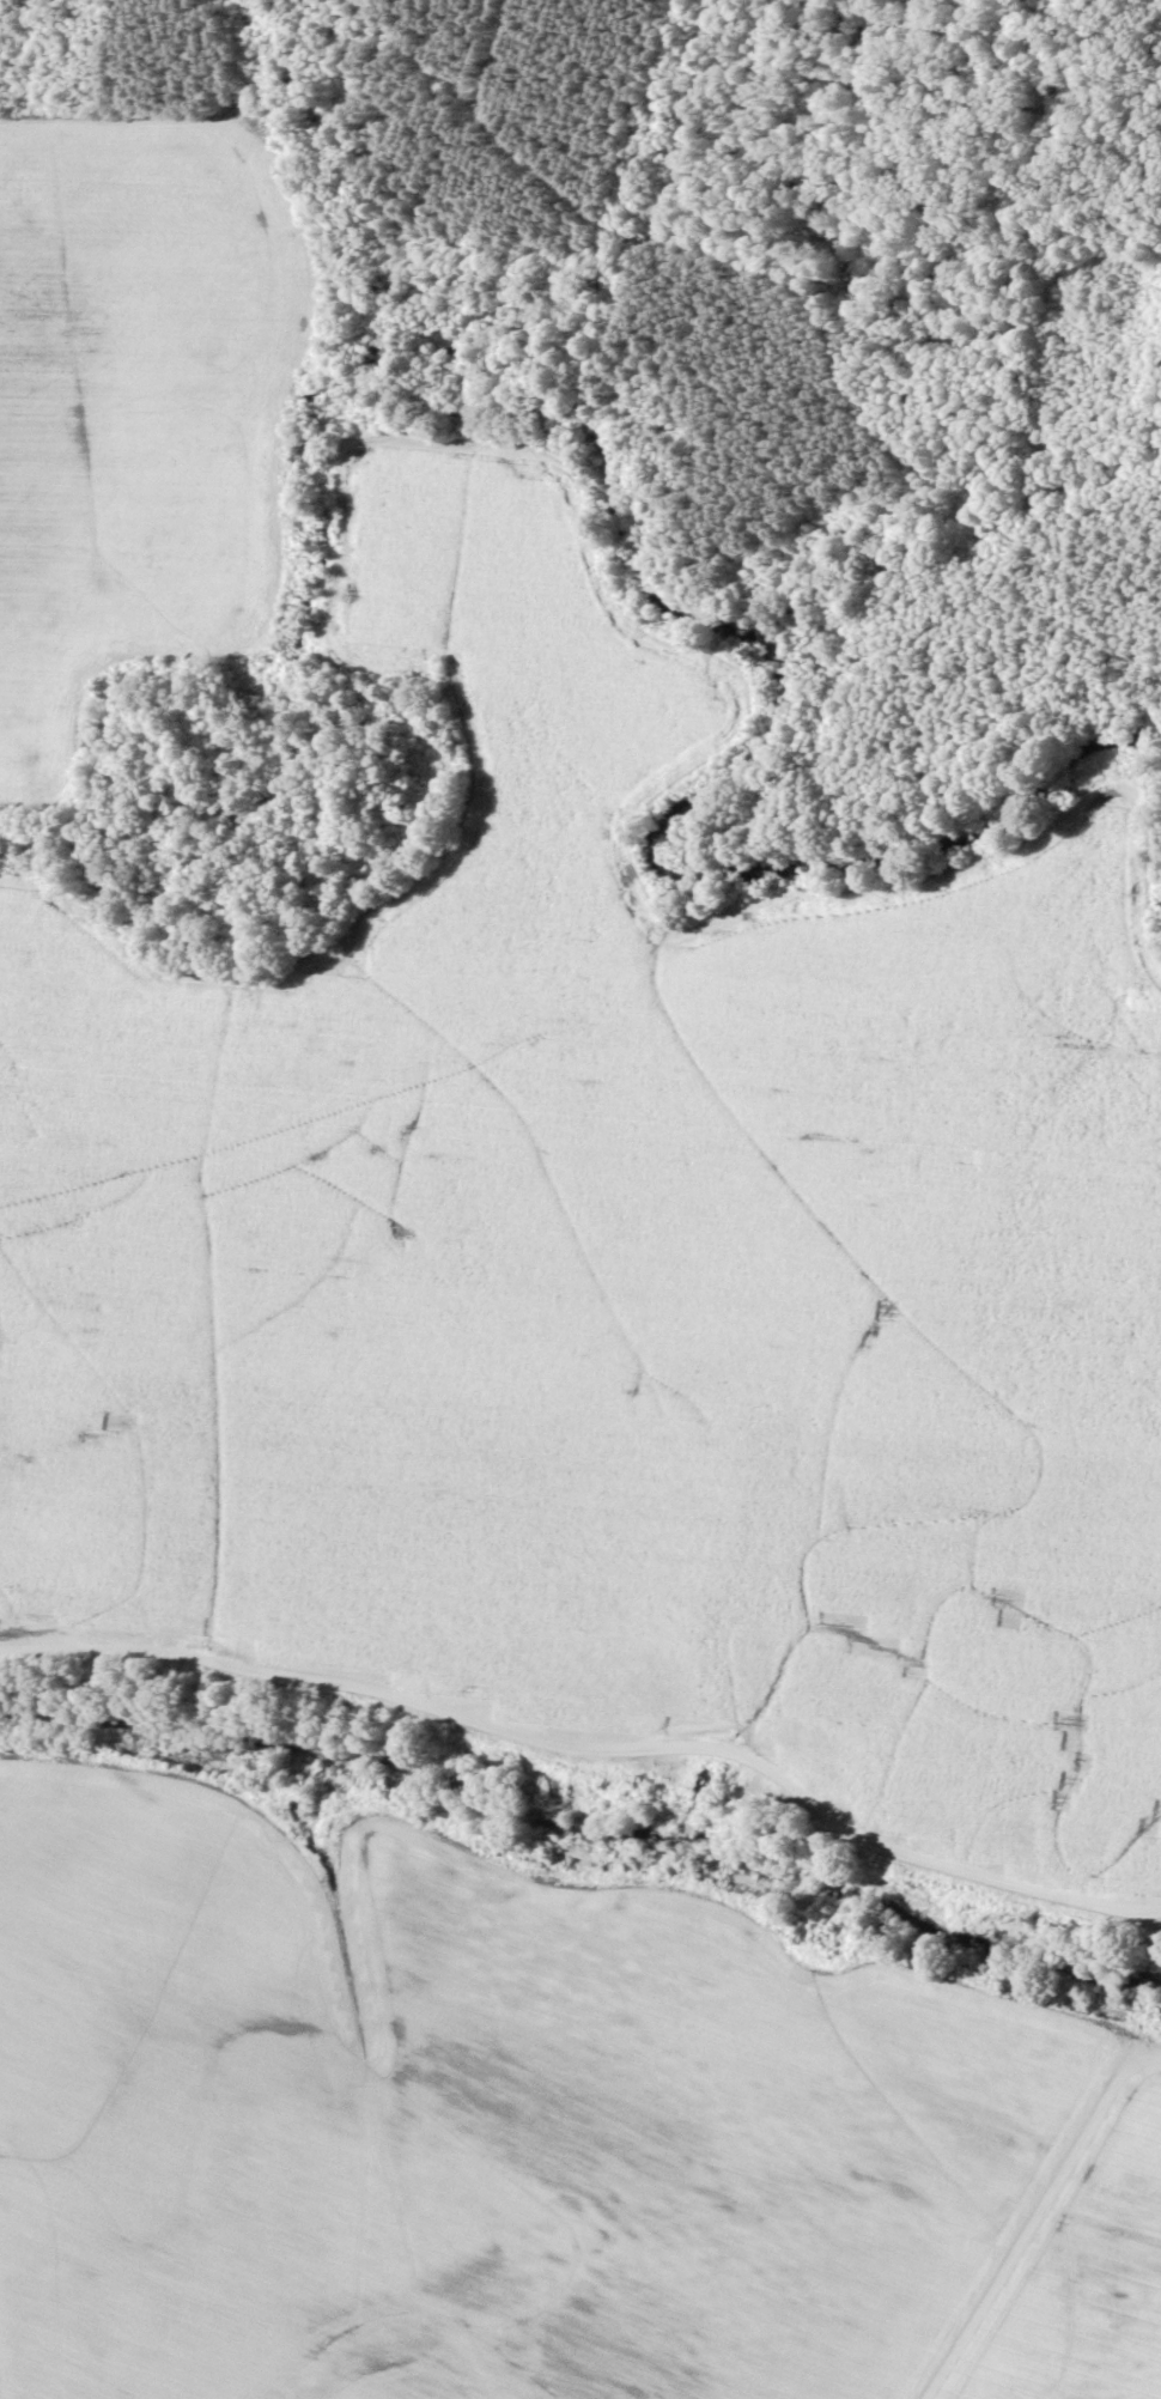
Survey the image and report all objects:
road: (1054, 2204)

